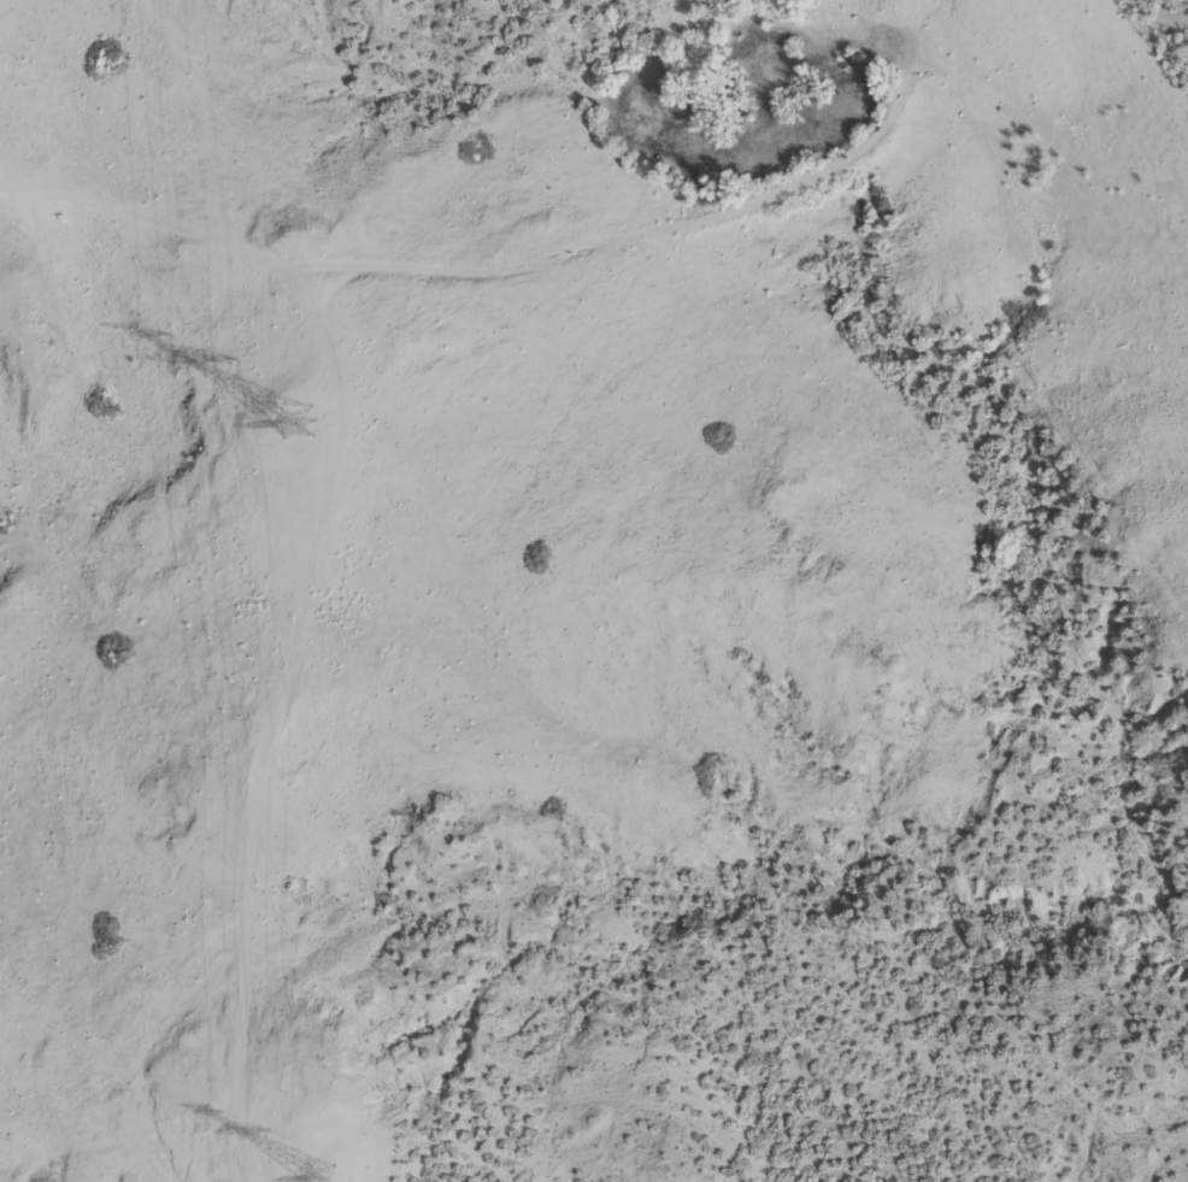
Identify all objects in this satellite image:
road: (630, 384)
power tower: (293, 423)
power tower: (319, 1177)

